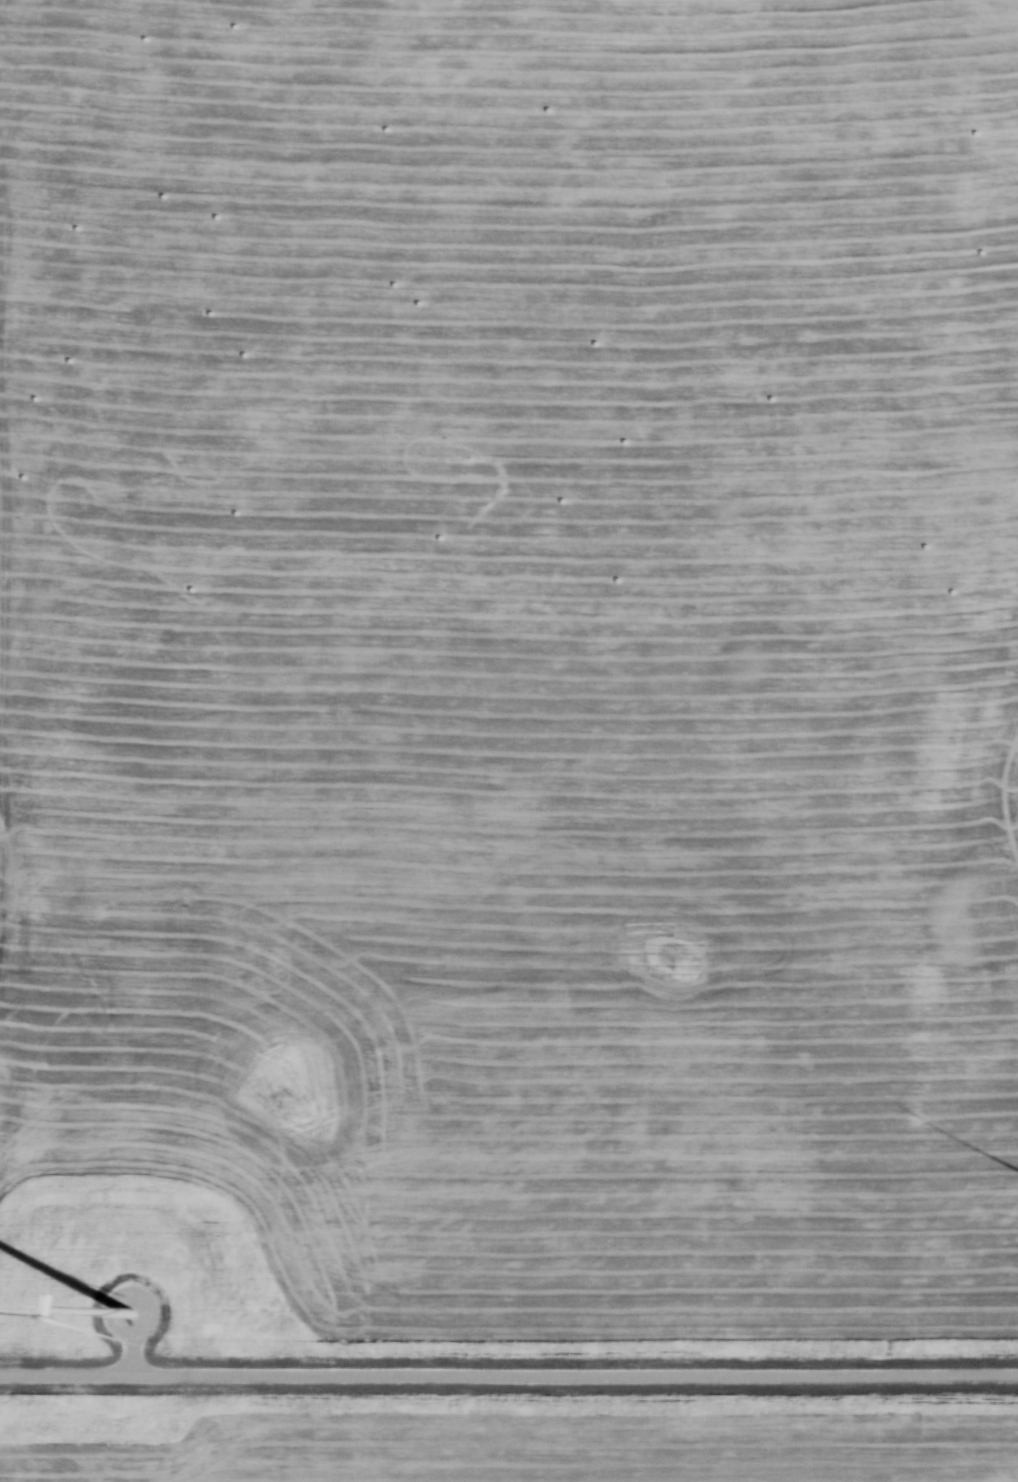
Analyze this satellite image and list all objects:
wind turbine: (141, 1314)

